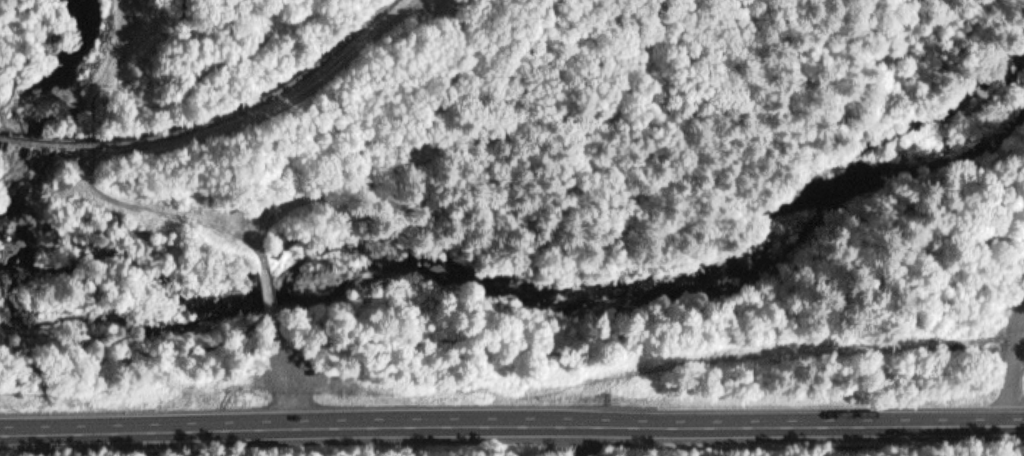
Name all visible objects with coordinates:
road: (198, 77)
road: (14, 82)
road: (264, 110)
road: (476, 139)
road: (117, 196)
road: (169, 211)
river: (238, 279)
road: (265, 294)
road: (1020, 324)
road: (535, 343)
road: (296, 346)
parking lot: (283, 371)
road: (1017, 377)
road: (282, 379)
road: (1020, 419)
road: (508, 420)

